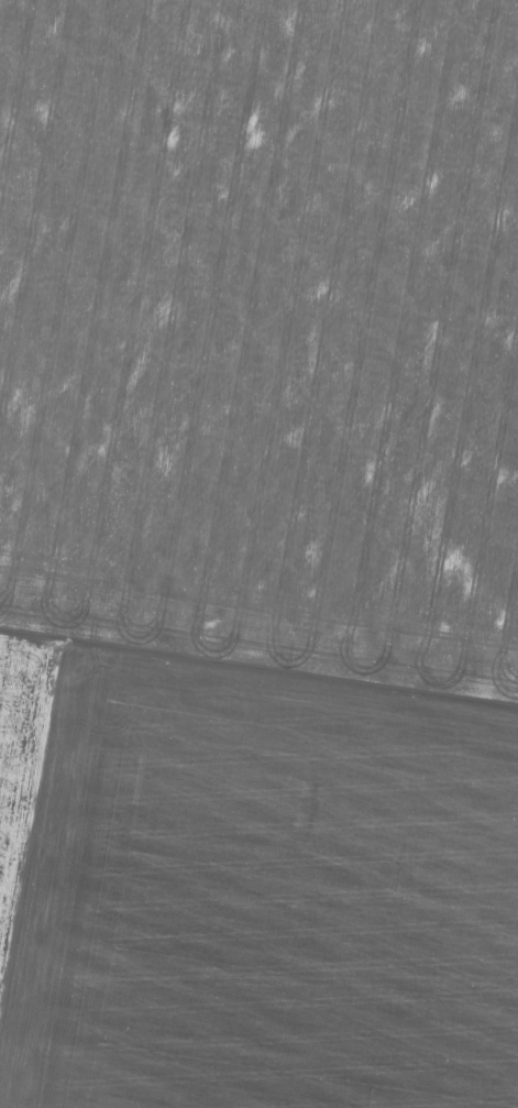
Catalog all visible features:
road: (258, 668)

